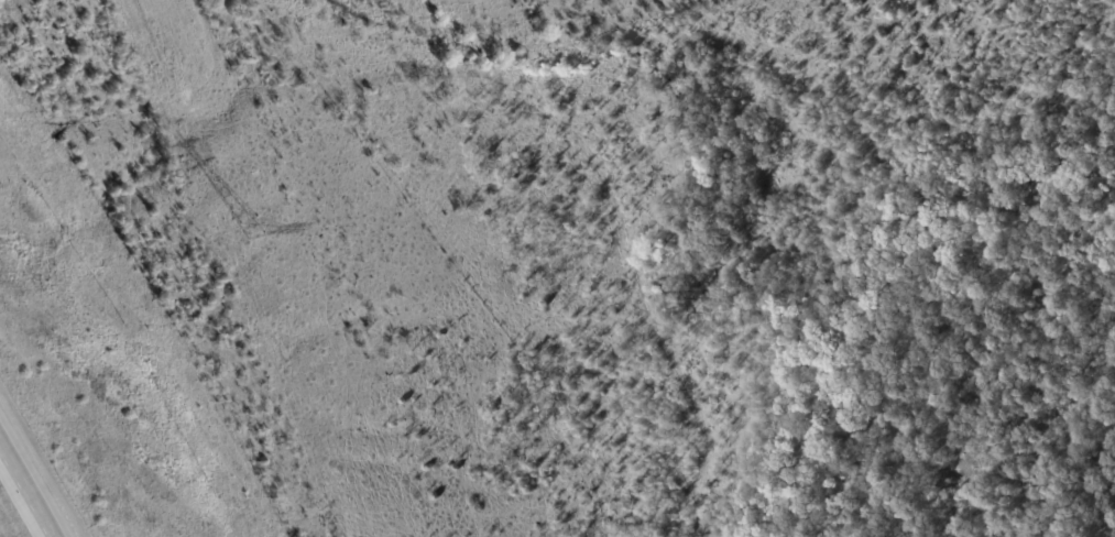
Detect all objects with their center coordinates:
power tower: (258, 230)
road: (35, 481)

